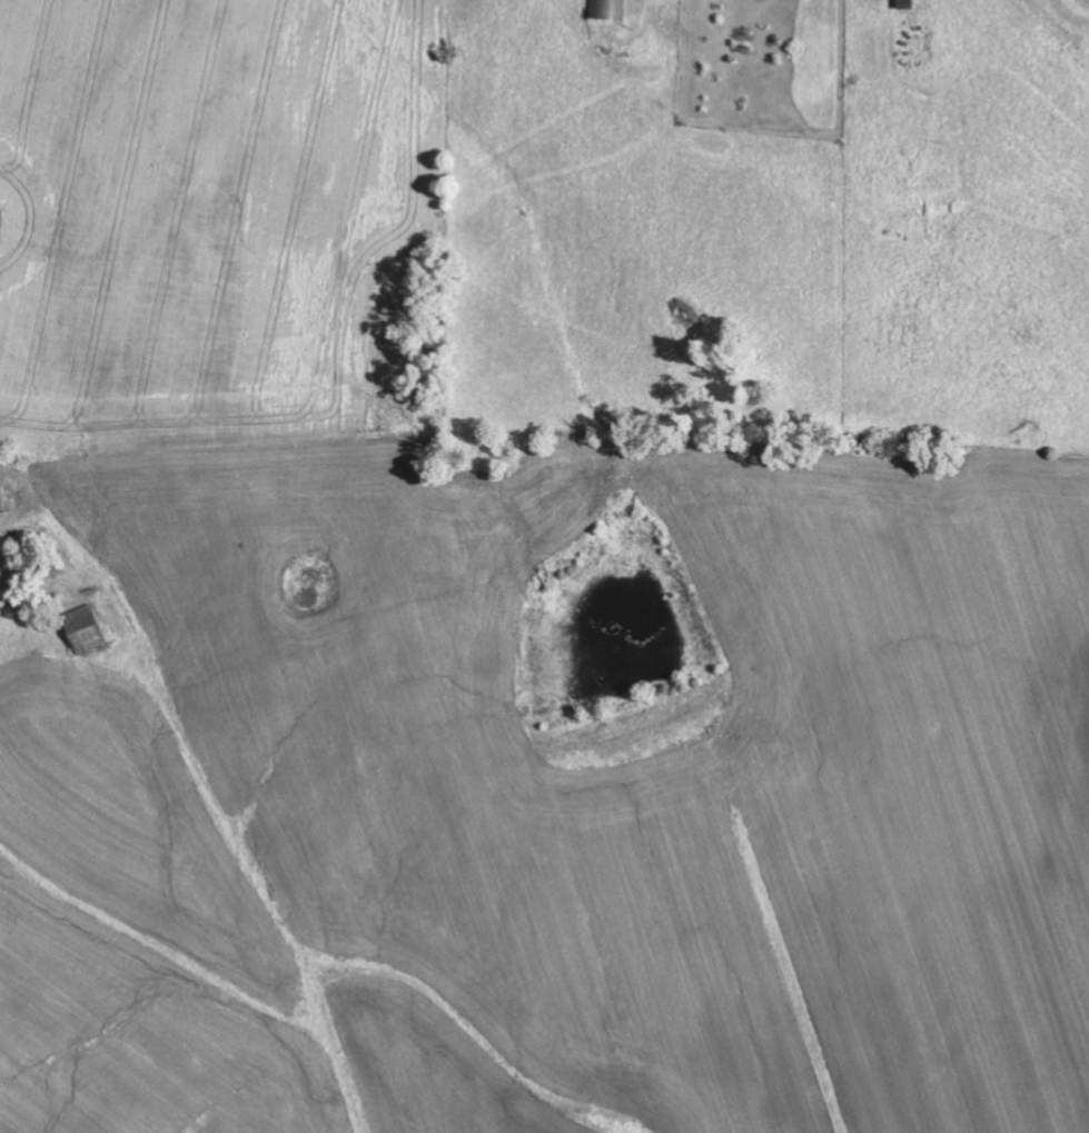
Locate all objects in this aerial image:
building: (1, 501)
building: (85, 632)

